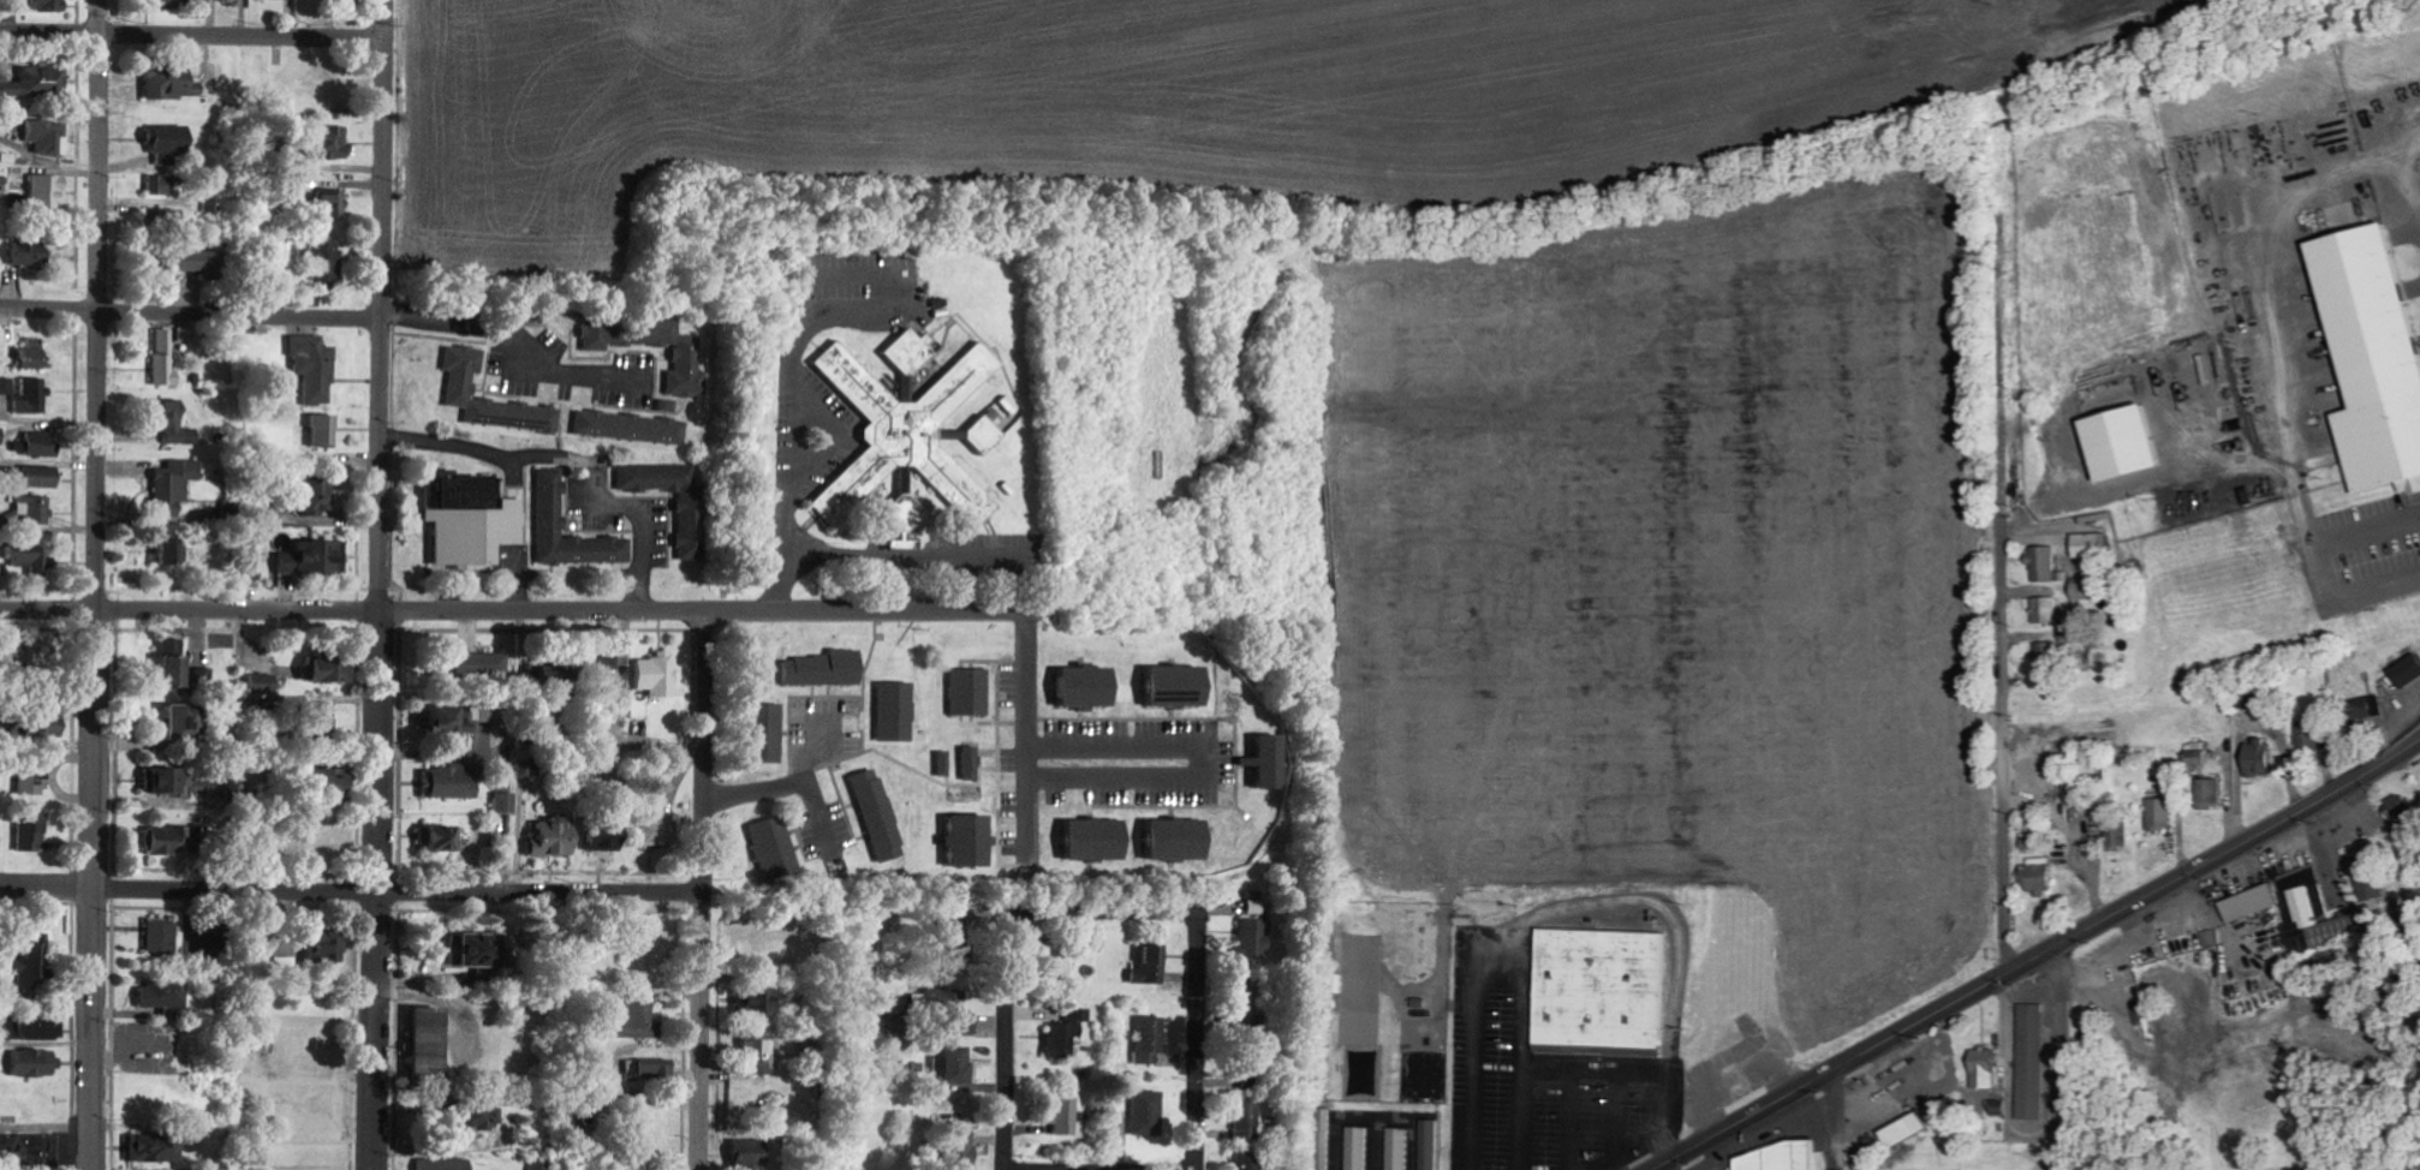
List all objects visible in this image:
building: (232, 2)
building: (172, 4)
building: (47, 5)
road: (195, 34)
building: (35, 79)
building: (174, 82)
building: (47, 136)
building: (168, 142)
building: (334, 142)
building: (160, 185)
building: (49, 192)
building: (334, 203)
building: (30, 255)
building: (324, 261)
building: (199, 263)
road: (191, 315)
road: (517, 347)
building: (24, 356)
building: (2371, 356)
building: (165, 358)
building: (685, 360)
building: (316, 368)
building: (6, 386)
building: (463, 386)
building: (31, 396)
building: (667, 406)
building: (175, 424)
building: (630, 428)
building: (327, 431)
building: (985, 432)
building: (905, 434)
building: (1, 436)
building: (2118, 442)
building: (38, 444)
building: (43, 477)
building: (175, 485)
building: (320, 495)
building: (549, 503)
building: (30, 513)
building: (471, 518)
building: (689, 525)
building: (2090, 544)
building: (174, 551)
building: (317, 557)
building: (30, 559)
building: (2041, 562)
road: (380, 584)
road: (101, 585)
road: (2007, 595)
road: (513, 608)
building: (2050, 610)
building: (175, 664)
building: (478, 665)
building: (333, 669)
building: (827, 669)
building: (2406, 670)
building: (610, 671)
building: (552, 674)
building: (657, 675)
building: (263, 685)
building: (1181, 686)
building: (1090, 687)
building: (972, 692)
road: (1029, 693)
building: (2362, 708)
building: (896, 712)
building: (452, 721)
building: (186, 723)
building: (43, 729)
parking lot: (827, 730)
building: (767, 734)
building: (2194, 754)
building: (2255, 758)
road: (1210, 759)
parking lot: (1138, 762)
building: (1272, 762)
building: (944, 763)
building: (972, 763)
road: (805, 780)
building: (165, 781)
building: (34, 783)
building: (332, 783)
building: (451, 783)
road: (755, 788)
building: (2207, 793)
building: (505, 804)
building: (2159, 814)
building: (878, 816)
road: (1029, 816)
parking lot: (825, 830)
building: (32, 831)
building: (660, 832)
building: (2118, 834)
building: (442, 838)
building: (554, 838)
building: (607, 838)
building: (1182, 840)
building: (167, 841)
building: (972, 841)
building: (1099, 841)
building: (775, 852)
building: (2037, 877)
road: (702, 889)
road: (350, 890)
building: (2248, 903)
road: (1102, 917)
building: (162, 936)
building: (1254, 937)
building: (2210, 938)
building: (327, 947)
road: (2035, 956)
building: (31, 963)
building: (1152, 967)
road: (1500, 981)
building: (163, 995)
building: (1604, 995)
building: (763, 1002)
building: (949, 1008)
building: (634, 1019)
building: (32, 1027)
building: (1066, 1034)
building: (1429, 1037)
building: (1149, 1039)
road: (1005, 1043)
road: (1197, 1043)
building: (431, 1045)
building: (761, 1053)
road: (2063, 1057)
building: (2029, 1061)
building: (36, 1063)
building: (953, 1065)
building: (649, 1068)
building: (1980, 1068)
road: (1638, 1070)
parking lot: (1549, 1091)
building: (1146, 1114)
building: (1061, 1116)
building: (484, 1117)
road: (1835, 1118)
building: (1251, 1122)
building: (1903, 1129)
road: (1569, 1138)
building: (1430, 1145)
building: (157, 1148)
building: (1359, 1148)
building: (1399, 1148)
road: (1637, 1148)
building: (29, 1152)
building: (960, 1152)
building: (753, 1154)
building: (1771, 1158)
building: (1248, 1162)
building: (443, 1164)
road: (1101, 1168)

